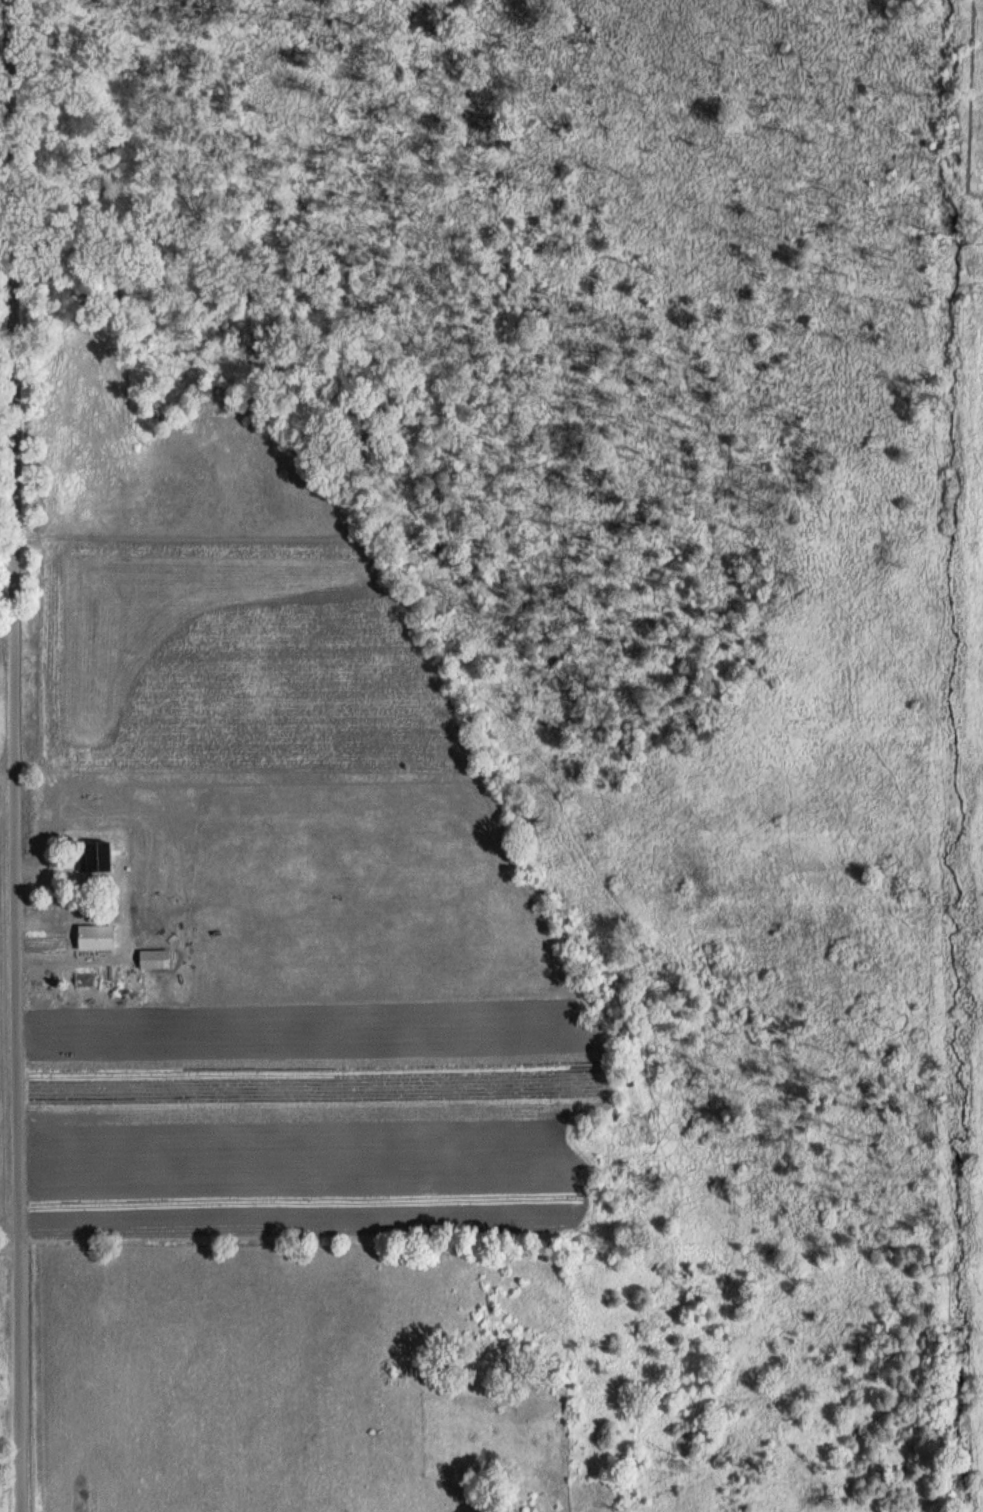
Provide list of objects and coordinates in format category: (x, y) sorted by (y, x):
road: (14, 756)

